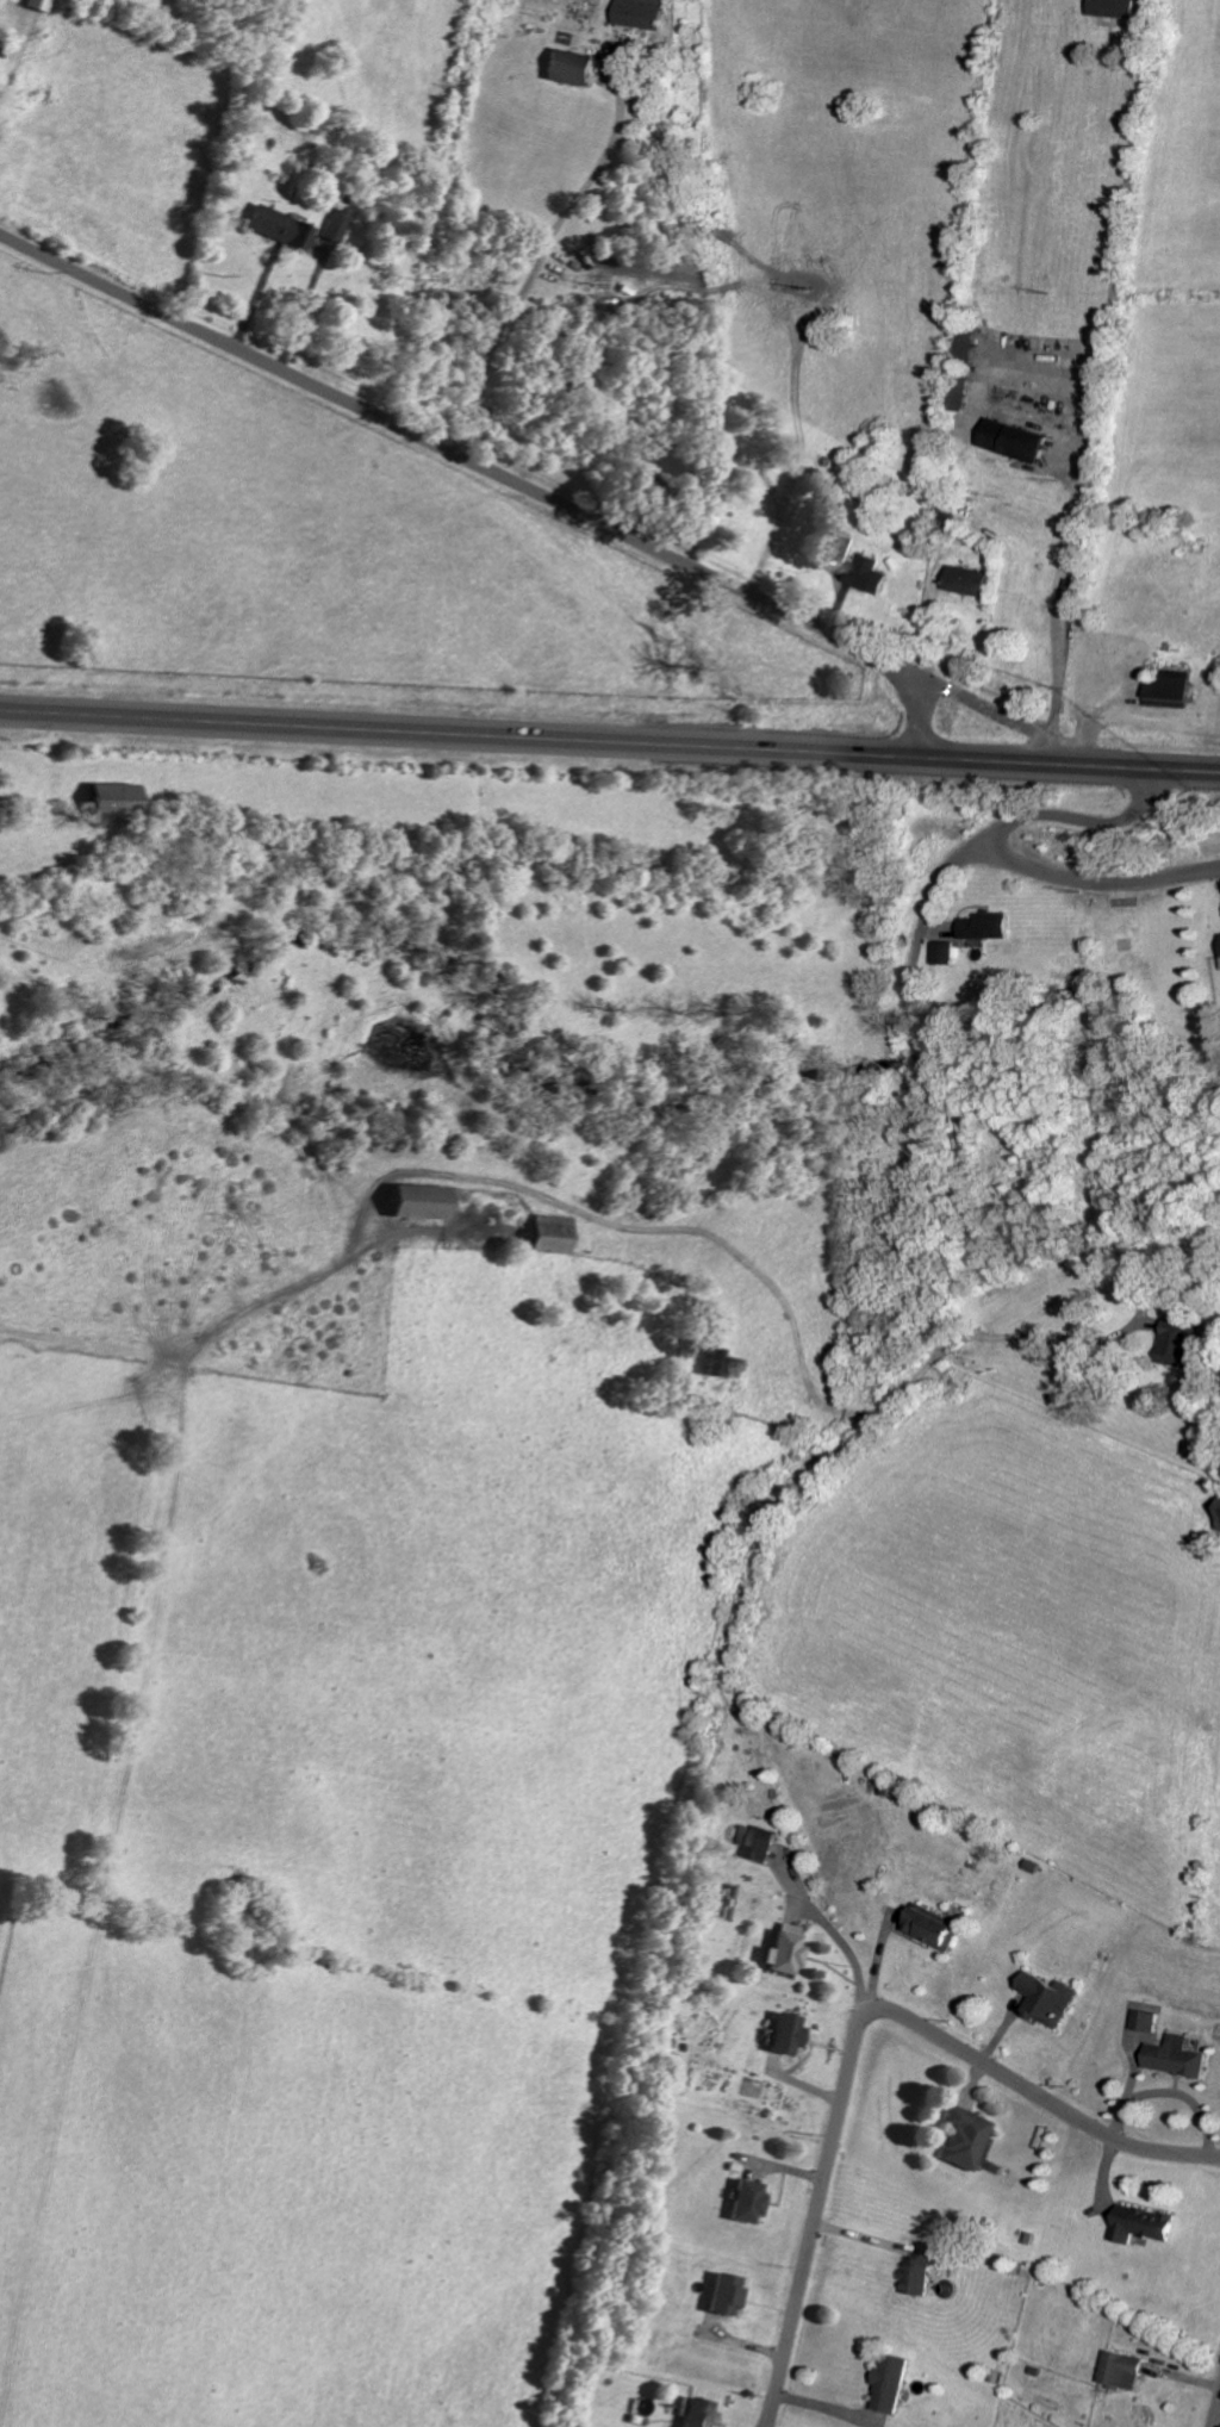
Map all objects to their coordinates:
building: (37, 5)
building: (1112, 8)
building: (641, 13)
road: (15, 58)
building: (569, 67)
building: (338, 224)
building: (278, 228)
road: (536, 255)
building: (965, 344)
road: (1095, 384)
road: (985, 385)
building: (958, 394)
building: (1010, 440)
road: (492, 468)
building: (645, 485)
building: (842, 549)
building: (865, 574)
building: (965, 580)
building: (1168, 691)
road: (609, 745)
building: (111, 801)
road: (953, 867)
road: (1096, 884)
building: (984, 926)
building: (942, 953)
building: (415, 1203)
road: (950, 1230)
building: (549, 1236)
road: (1045, 1336)
building: (1183, 1345)
building: (720, 1365)
building: (1219, 1519)
building: (764, 1844)
building: (932, 1928)
road: (834, 1933)
building: (783, 1949)
building: (1046, 2000)
building: (1145, 2021)
road: (858, 2029)
building: (784, 2034)
building: (1176, 2056)
building: (963, 2137)
building: (745, 2202)
building: (1141, 2224)
building: (920, 2270)
building: (723, 2295)
building: (1121, 2370)
building: (891, 2384)
building: (697, 2414)
road: (1216, 2415)

